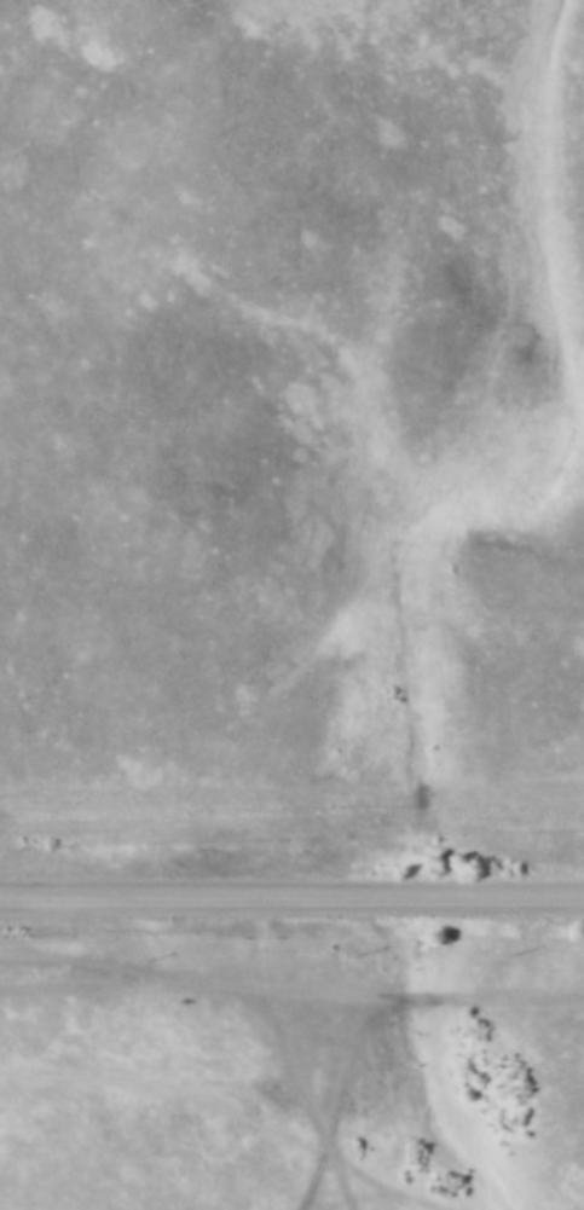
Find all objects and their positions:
road: (291, 893)
road: (299, 1053)

